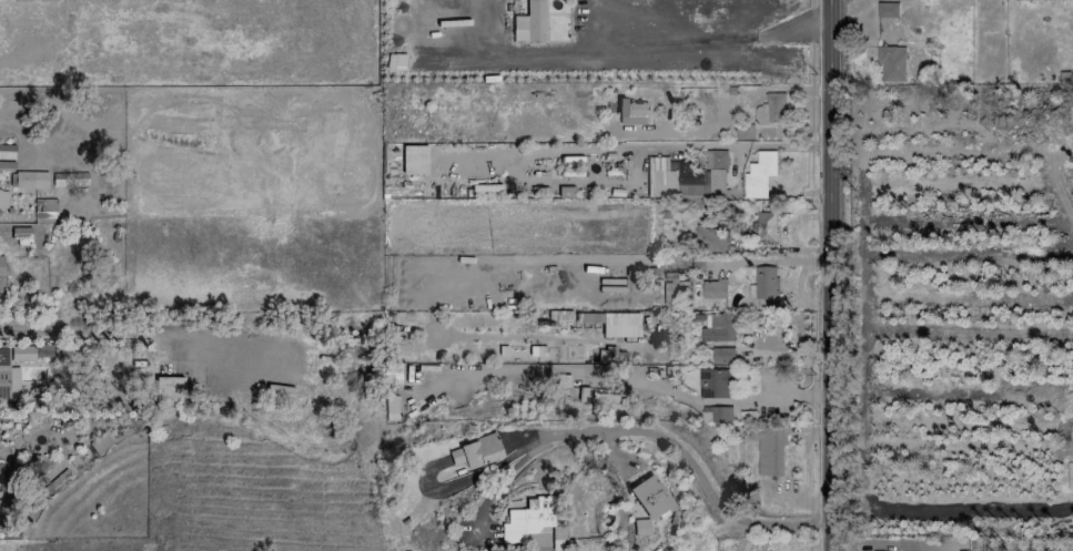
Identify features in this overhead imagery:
building: (33, 0)
building: (887, 10)
building: (530, 23)
road: (632, 48)
building: (891, 62)
building: (631, 109)
building: (770, 109)
building: (715, 159)
building: (414, 160)
building: (759, 172)
building: (680, 176)
building: (30, 180)
building: (3, 200)
building: (44, 208)
building: (763, 227)
building: (708, 238)
building: (1, 265)
road: (830, 275)
building: (765, 282)
building: (712, 288)
building: (620, 325)
building: (717, 327)
road: (114, 329)
building: (32, 351)
building: (607, 355)
building: (722, 355)
building: (8, 376)
building: (715, 382)
building: (169, 390)
building: (716, 414)
building: (769, 450)
building: (476, 452)
road: (610, 455)
road: (694, 470)
road: (505, 475)
building: (1, 481)
building: (650, 497)
building: (526, 520)
building: (641, 527)

